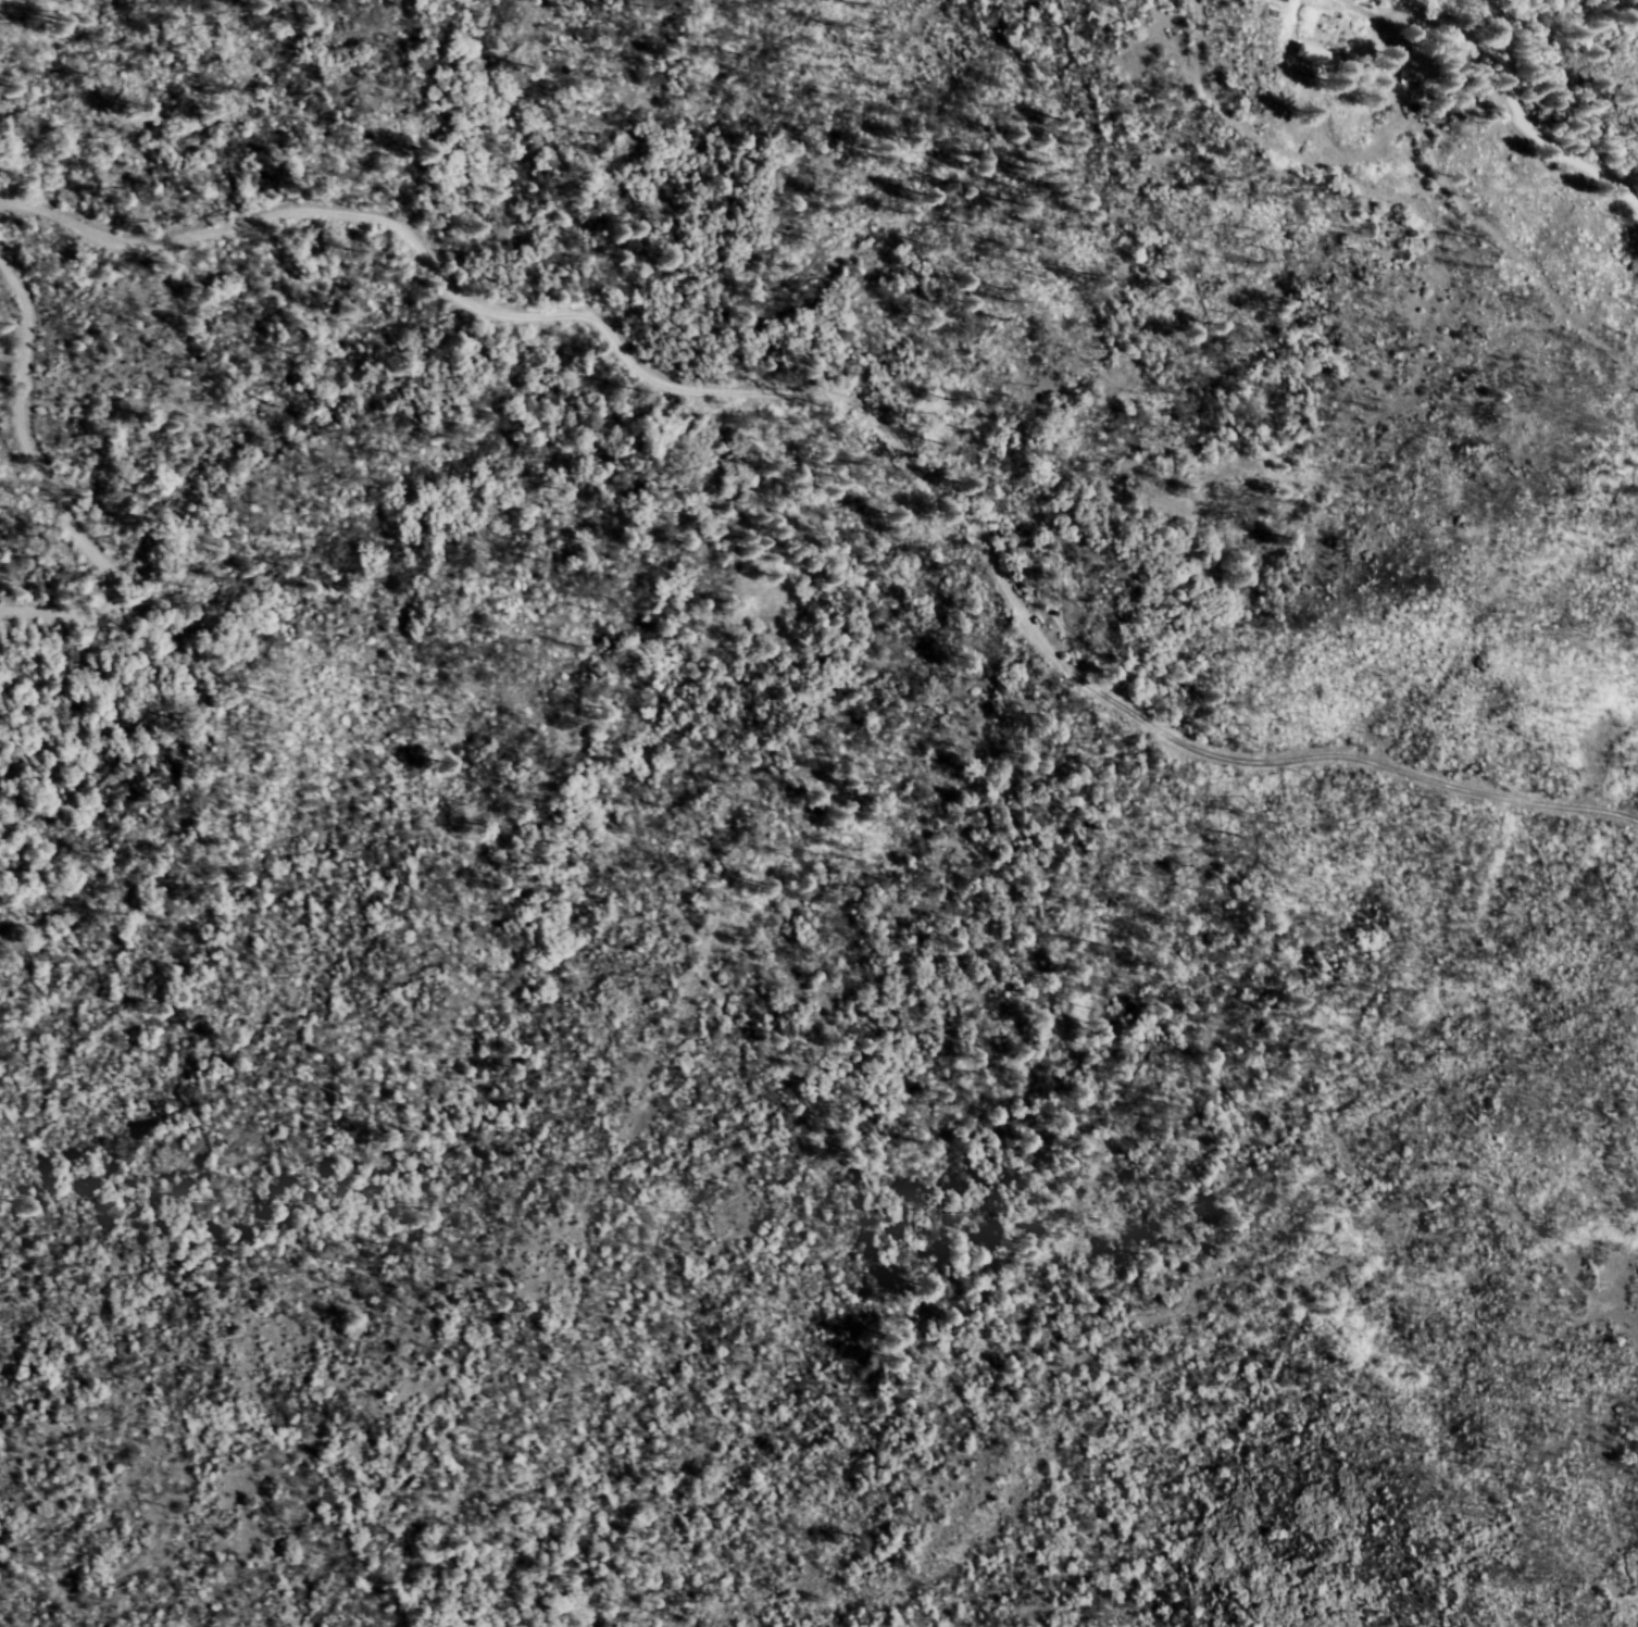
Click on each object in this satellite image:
building: (1308, 54)
road: (1562, 83)

